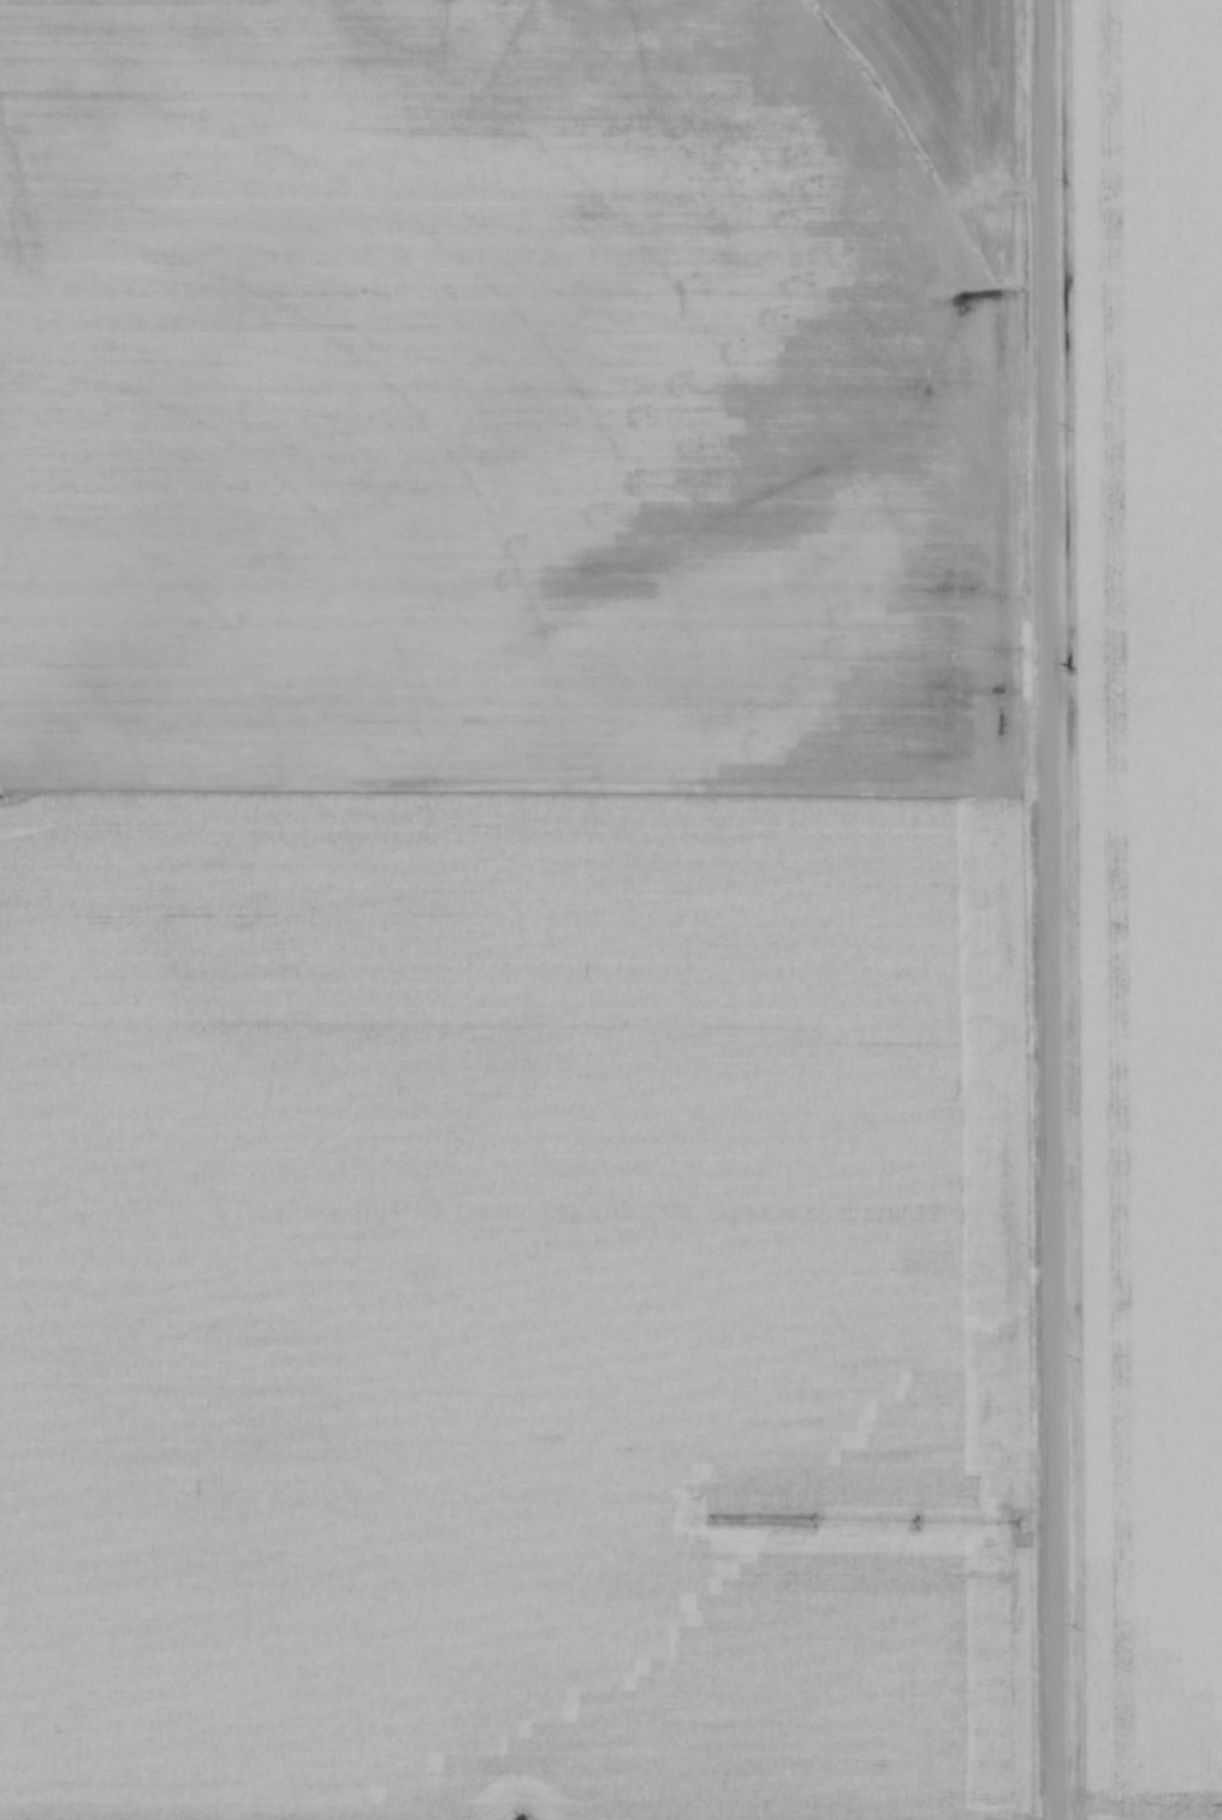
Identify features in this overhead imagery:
road: (1048, 909)

